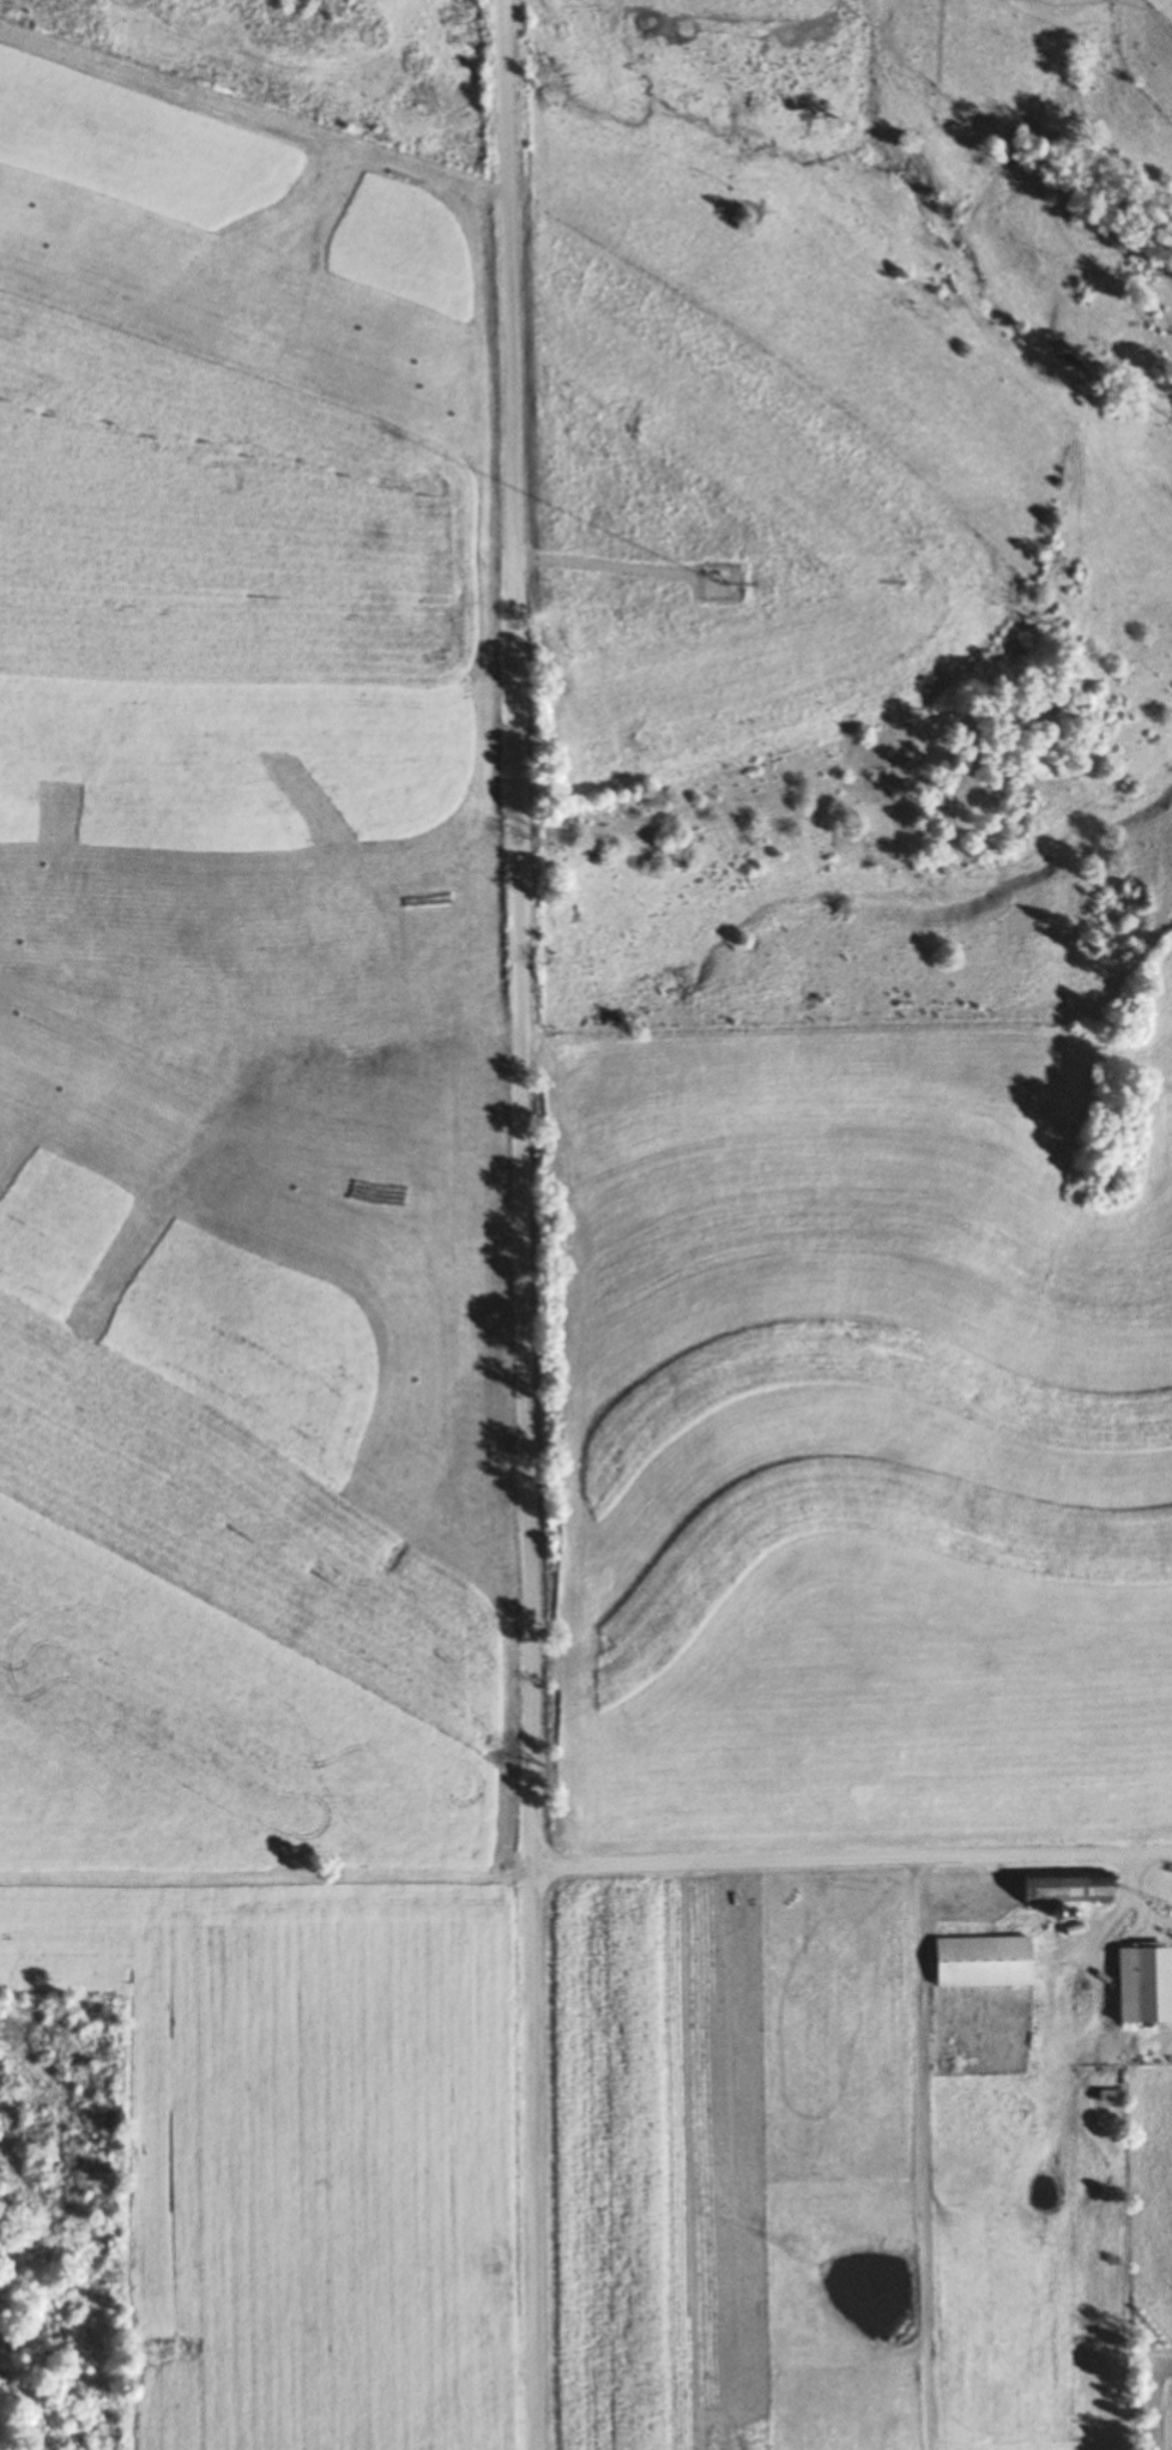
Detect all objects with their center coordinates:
crop: (1146, 43)
crop: (244, 415)
crop: (707, 532)
road: (518, 1224)
crop: (850, 1446)
crop: (240, 1452)
road: (852, 1858)
building: (1160, 1880)
building: (1061, 1886)
road: (1135, 1900)
building: (952, 1958)
building: (1149, 1985)
crop: (313, 2144)
crop: (821, 2183)

